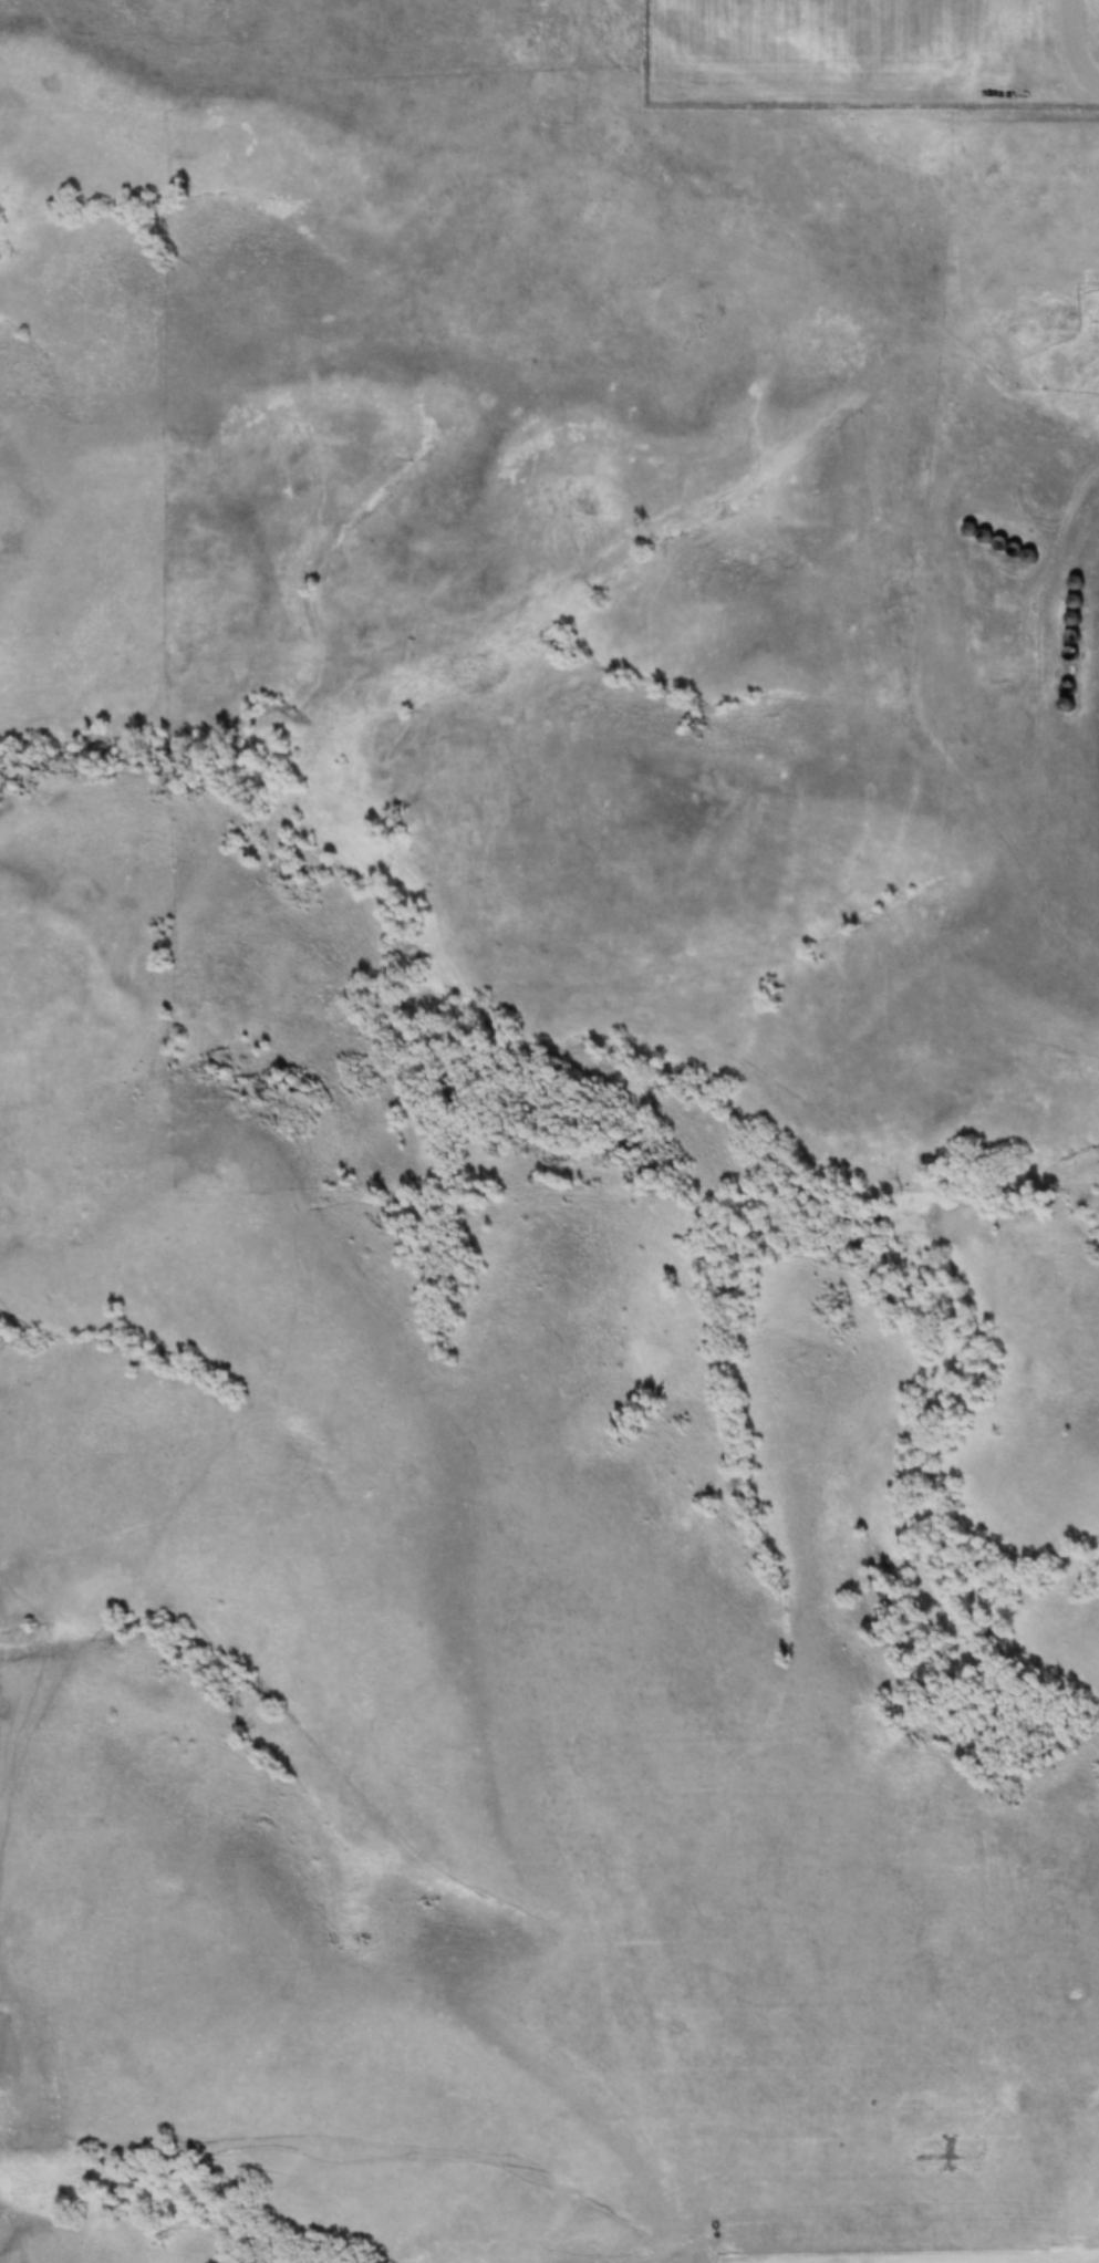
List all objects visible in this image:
road: (1075, 41)
road: (1004, 2259)

